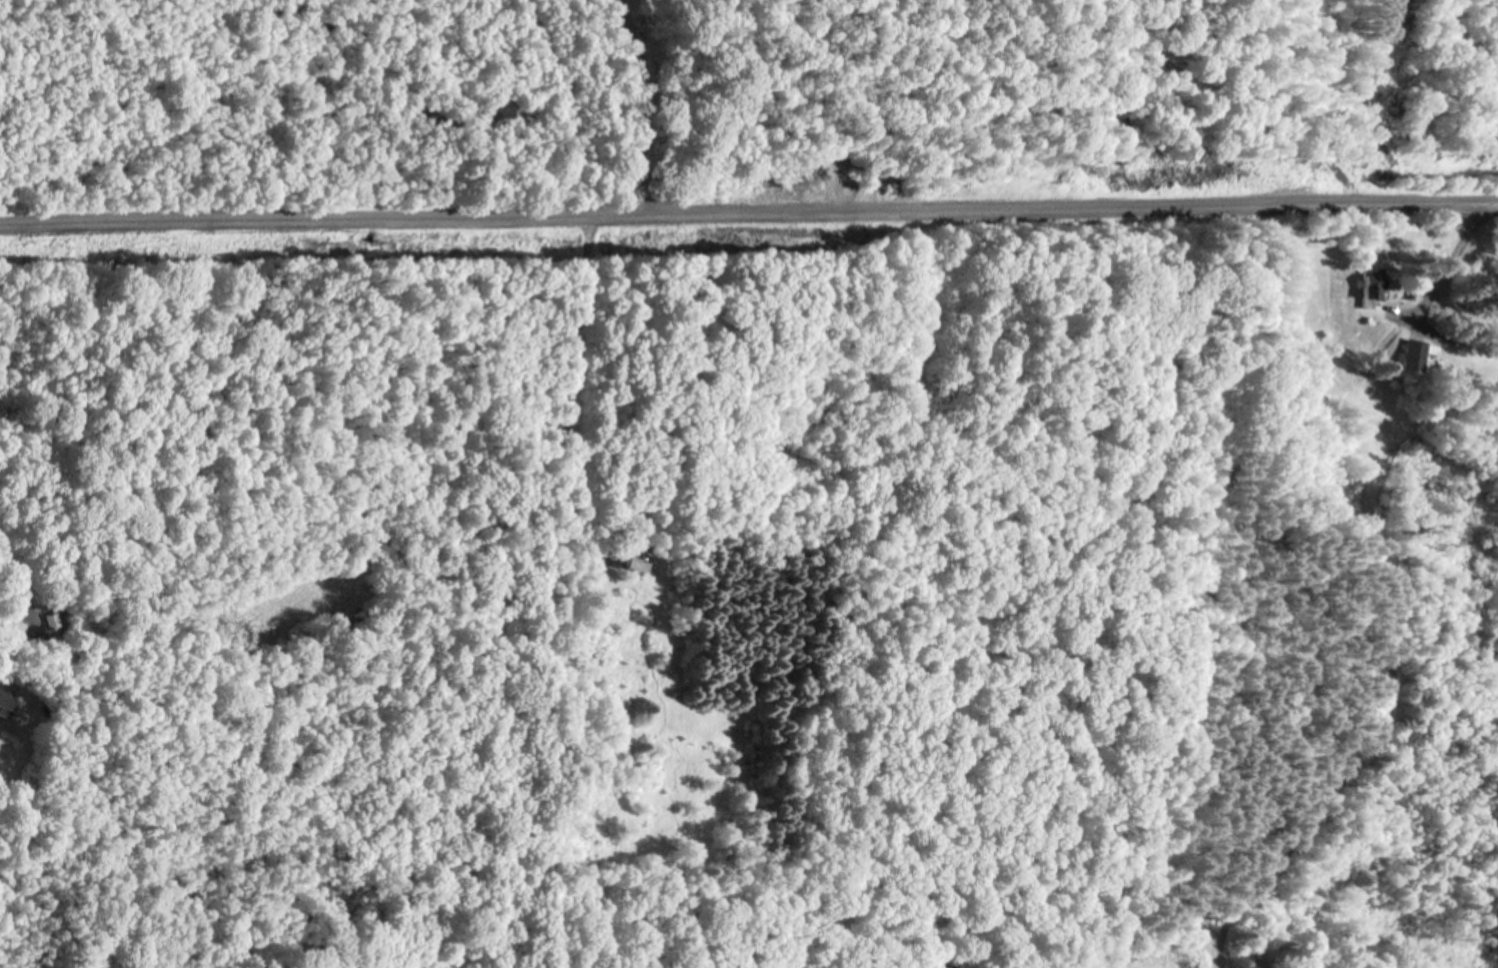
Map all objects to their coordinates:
road: (749, 219)
building: (1370, 288)
building: (1412, 354)
building: (633, 557)
road: (17, 586)
building: (49, 620)
building: (4, 702)

